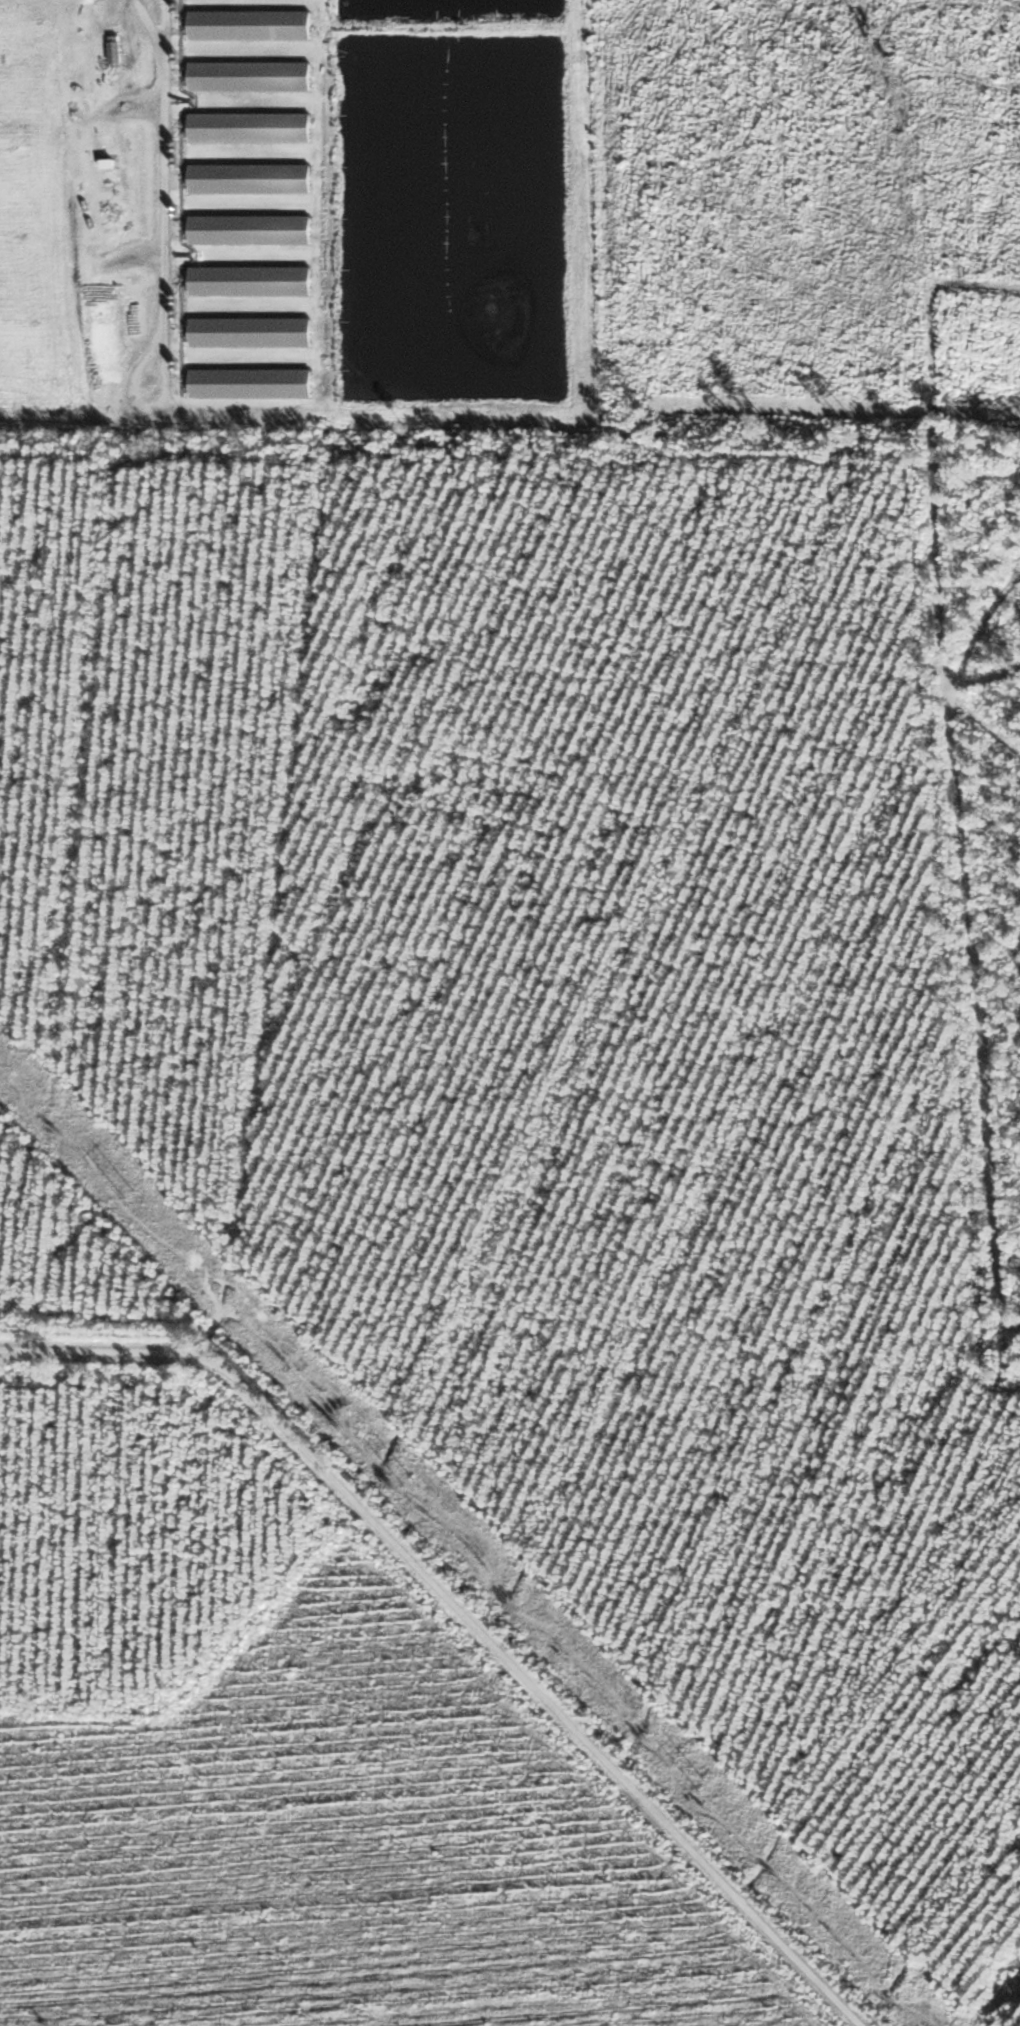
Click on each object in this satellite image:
road: (21, 16)
building: (252, 25)
building: (116, 50)
building: (252, 76)
building: (252, 127)
building: (252, 178)
building: (252, 230)
building: (252, 281)
building: (252, 332)
building: (253, 384)
power tower: (133, 1195)
power tower: (411, 1484)
road: (476, 1603)
power tower: (704, 1785)

